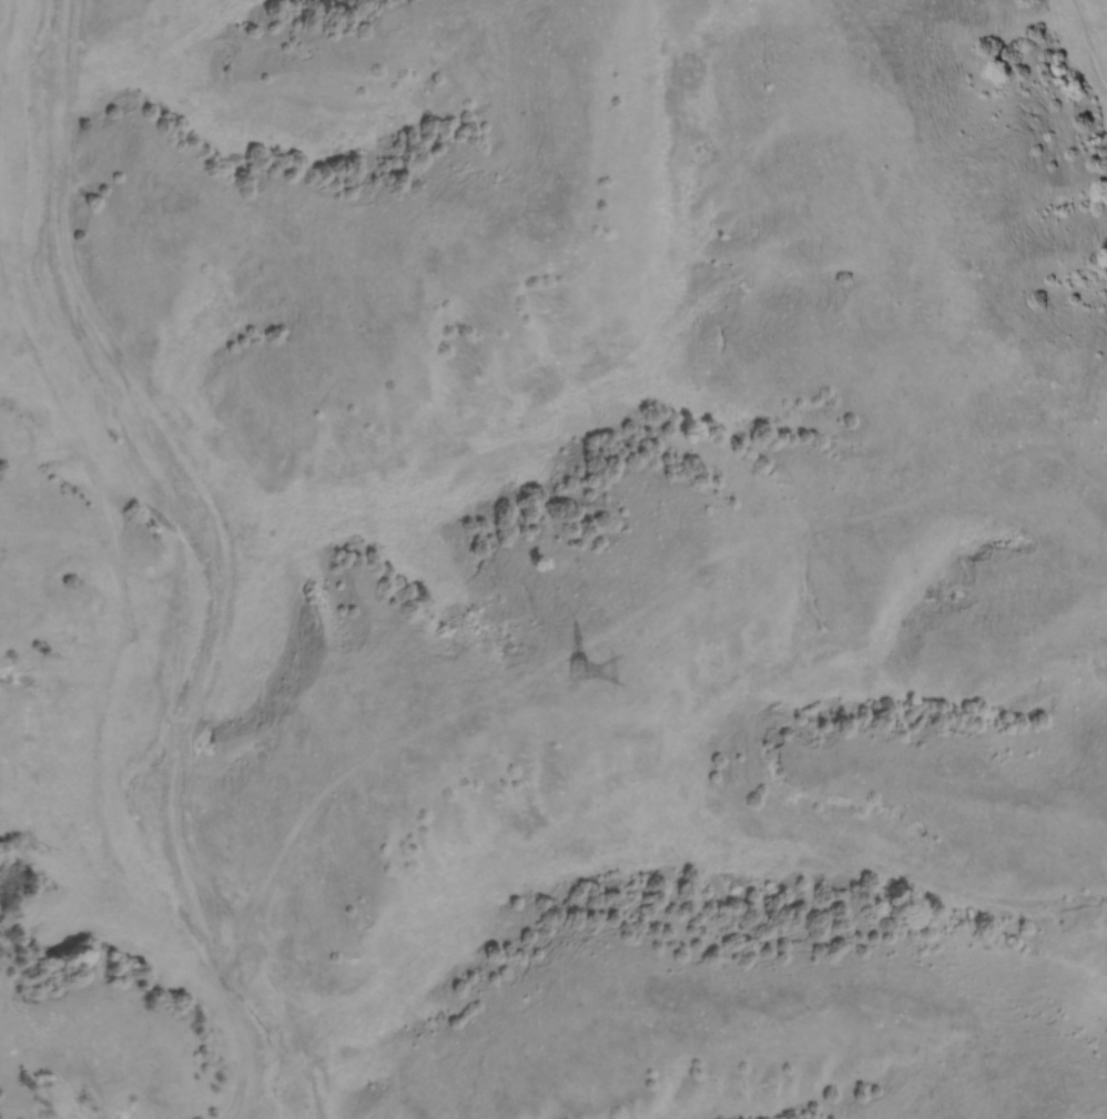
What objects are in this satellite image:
power tower: (557, 671)

